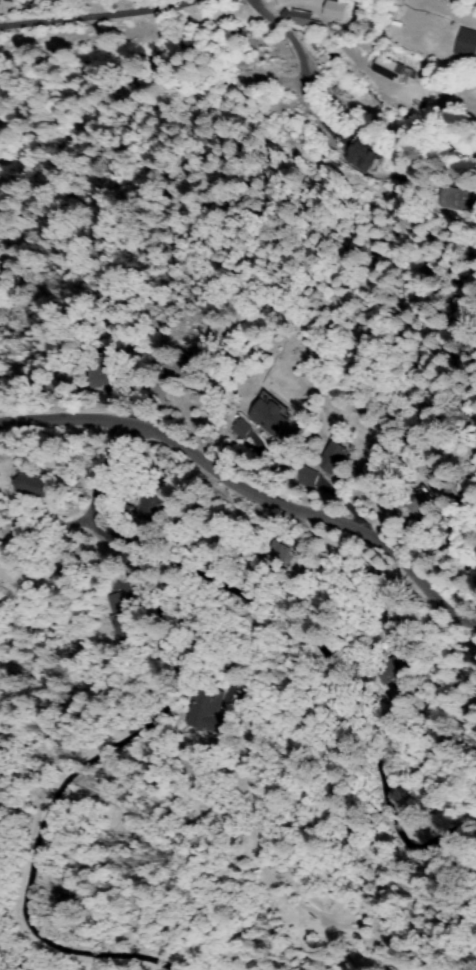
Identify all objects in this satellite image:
building: (0, 1)
road: (137, 7)
building: (303, 19)
road: (49, 23)
building: (467, 45)
building: (392, 69)
building: (363, 157)
building: (451, 199)
building: (474, 216)
building: (184, 369)
building: (103, 375)
building: (271, 417)
building: (241, 429)
building: (254, 443)
building: (334, 456)
road: (93, 473)
building: (306, 475)
building: (34, 486)
road: (255, 486)
building: (421, 503)
building: (145, 508)
building: (278, 554)
building: (431, 555)
building: (68, 575)
building: (118, 603)
building: (129, 626)
building: (393, 671)
building: (207, 712)

